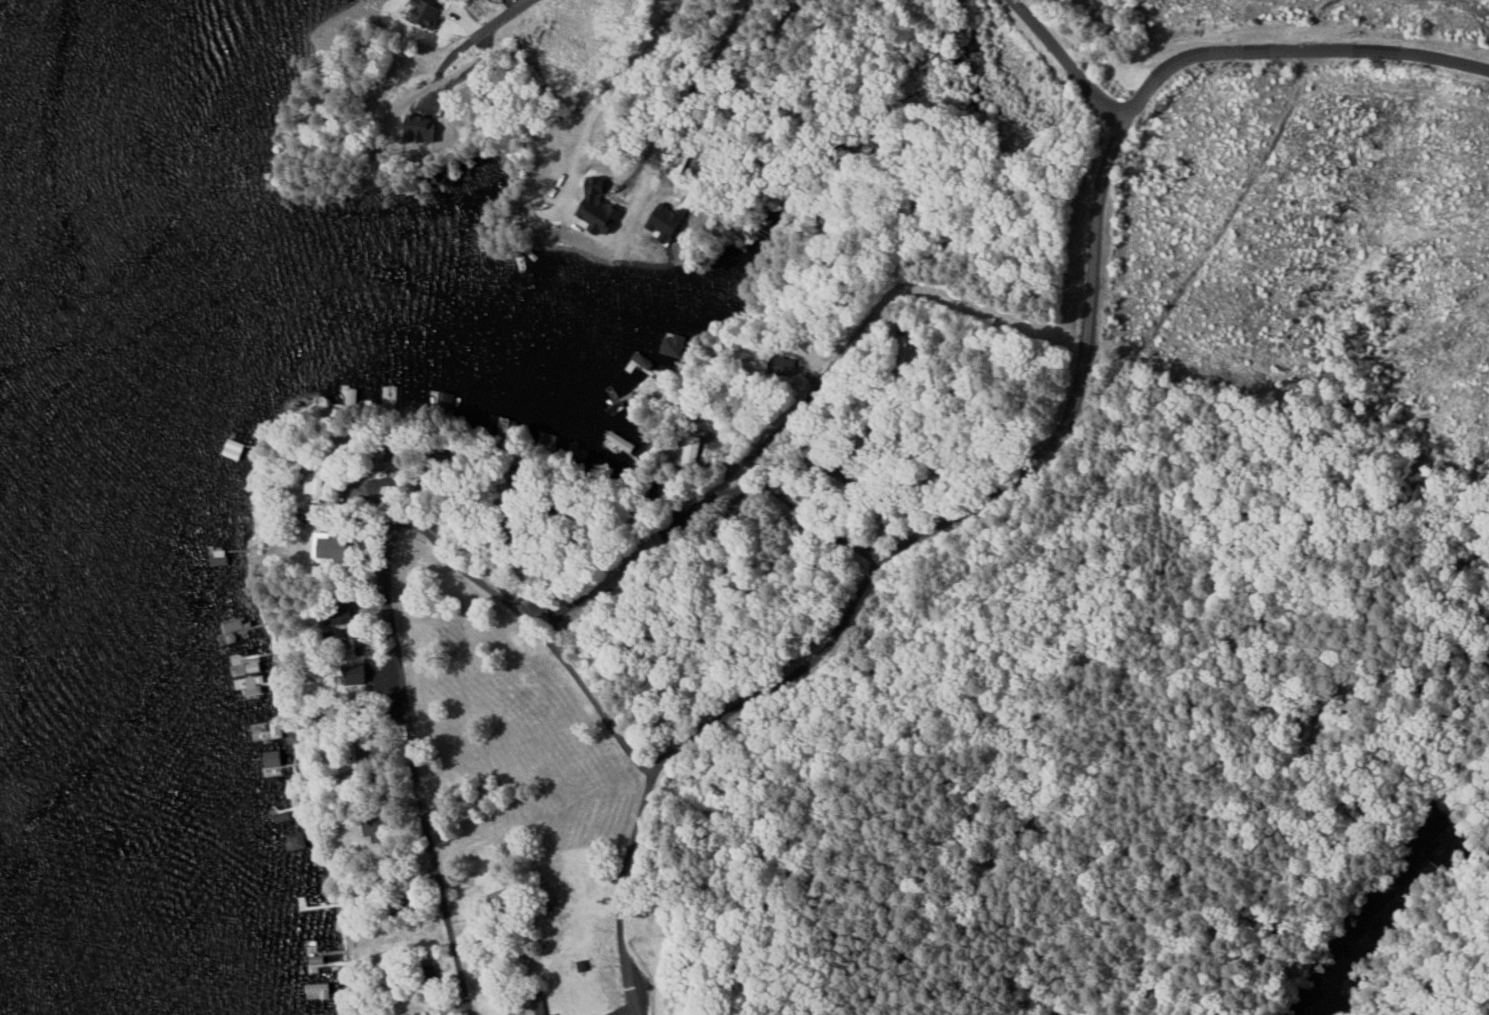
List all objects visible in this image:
building: (424, 11)
road: (1069, 64)
road: (1085, 336)
road: (673, 466)
building: (330, 548)
road: (383, 591)
building: (246, 668)
building: (255, 683)
building: (276, 728)
building: (274, 758)
building: (298, 840)
road: (622, 879)
building: (319, 989)
building: (536, 1007)

